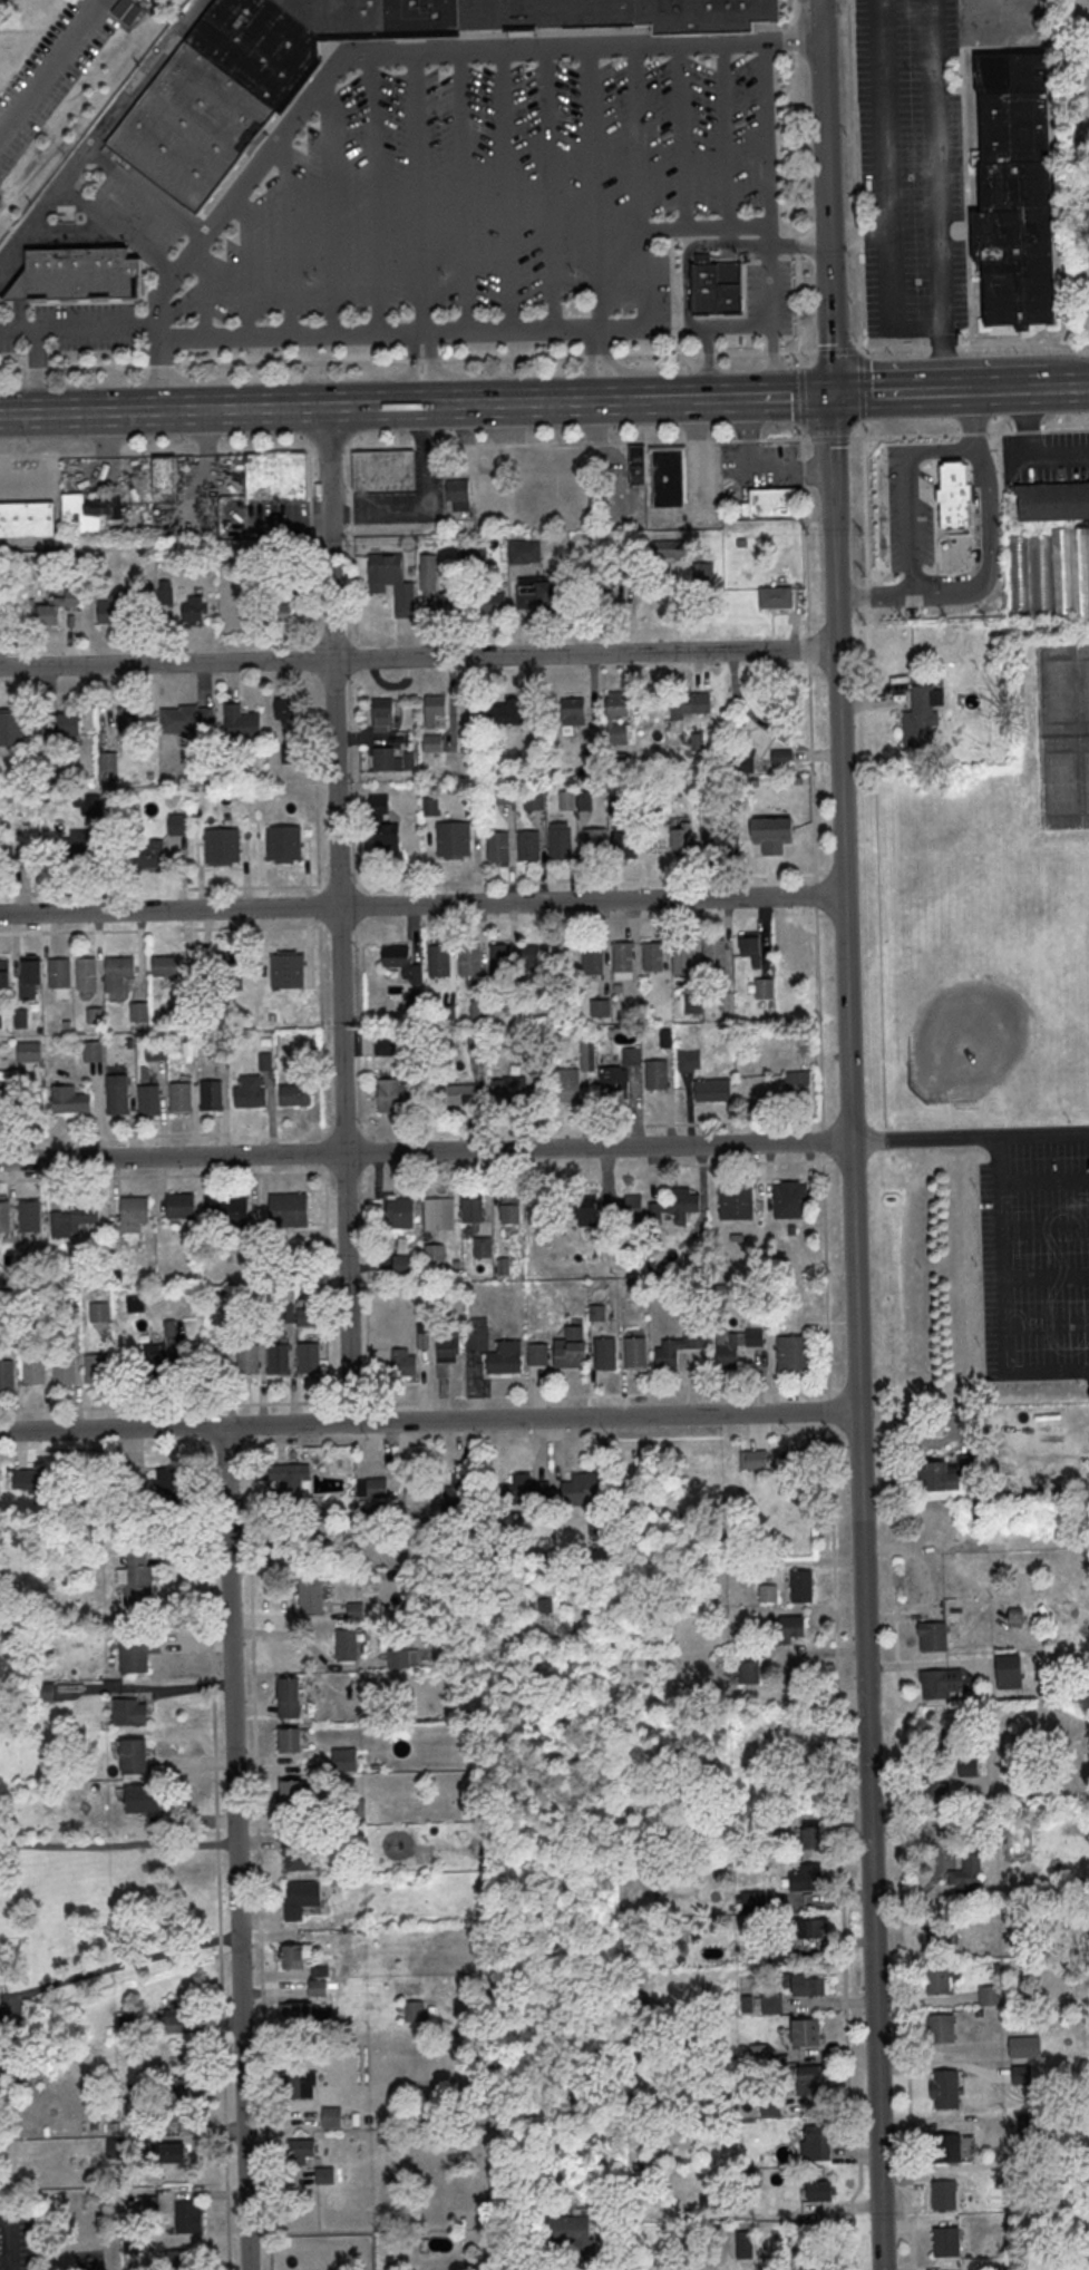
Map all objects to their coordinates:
building: (127, 10)
building: (618, 14)
road: (794, 43)
road: (406, 55)
road: (55, 74)
building: (249, 80)
road: (769, 137)
road: (723, 138)
road: (643, 139)
road: (682, 139)
park: (1079, 155)
road: (936, 164)
parking lot: (911, 168)
road: (71, 171)
road: (888, 187)
road: (594, 189)
road: (548, 191)
road: (505, 192)
building: (1015, 192)
road: (463, 193)
road: (420, 194)
road: (371, 195)
road: (824, 196)
road: (330, 206)
road: (29, 231)
road: (289, 232)
road: (858, 234)
road: (800, 245)
road: (249, 260)
building: (82, 273)
building: (718, 285)
road: (203, 289)
road: (772, 312)
road: (79, 329)
road: (648, 329)
road: (424, 334)
road: (292, 338)
road: (901, 349)
road: (161, 350)
road: (944, 359)
road: (775, 362)
road: (708, 363)
road: (600, 364)
road: (35, 372)
road: (1031, 387)
road: (901, 390)
road: (425, 392)
traffic signals: (829, 393)
road: (759, 394)
road: (662, 398)
road: (318, 408)
road: (974, 418)
road: (544, 444)
road: (1032, 448)
parking lot: (1046, 457)
building: (638, 465)
road: (750, 469)
building: (385, 471)
building: (665, 476)
building: (276, 478)
building: (166, 479)
road: (910, 487)
building: (911, 489)
building: (457, 494)
building: (954, 498)
road: (421, 501)
building: (1053, 501)
building: (771, 504)
building: (90, 509)
building: (28, 520)
road: (833, 522)
building: (671, 549)
road: (989, 549)
building: (525, 551)
building: (427, 572)
building: (1051, 572)
building: (391, 582)
road: (874, 591)
building: (775, 596)
building: (545, 597)
building: (454, 602)
building: (493, 602)
building: (125, 605)
building: (57, 607)
building: (194, 610)
building: (281, 612)
road: (418, 659)
building: (690, 702)
building: (284, 707)
building: (436, 710)
building: (572, 711)
building: (508, 712)
building: (382, 713)
building: (922, 715)
building: (616, 717)
building: (188, 719)
building: (132, 721)
building: (242, 722)
building: (60, 725)
building: (11, 729)
park: (1062, 733)
building: (431, 742)
building: (781, 754)
building: (392, 759)
building: (108, 762)
building: (534, 799)
building: (567, 800)
building: (585, 800)
road: (813, 801)
building: (87, 803)
building: (615, 805)
building: (431, 806)
building: (179, 825)
building: (382, 826)
building: (680, 834)
building: (772, 834)
building: (454, 839)
building: (626, 841)
building: (721, 841)
building: (284, 842)
building: (561, 842)
building: (595, 842)
building: (224, 845)
building: (529, 845)
building: (498, 846)
building: (13, 854)
building: (148, 855)
road: (421, 905)
road: (338, 915)
building: (750, 946)
building: (801, 946)
building: (684, 954)
building: (714, 954)
building: (623, 957)
building: (654, 957)
building: (529, 958)
building: (594, 958)
building: (500, 959)
building: (439, 961)
building: (470, 961)
building: (402, 962)
building: (168, 966)
building: (288, 971)
building: (4, 973)
building: (60, 973)
building: (87, 973)
building: (118, 973)
building: (226, 973)
building: (30, 978)
building: (765, 988)
building: (693, 1004)
building: (601, 1009)
building: (479, 1010)
building: (140, 1012)
building: (186, 1013)
building: (96, 1016)
building: (1, 1019)
building: (477, 1042)
building: (217, 1049)
building: (156, 1050)
building: (95, 1051)
building: (30, 1052)
building: (587, 1052)
building: (632, 1058)
building: (690, 1061)
building: (266, 1062)
building: (657, 1074)
building: (798, 1082)
building: (614, 1083)
building: (566, 1085)
building: (508, 1089)
building: (713, 1090)
building: (3, 1092)
building: (251, 1092)
building: (118, 1094)
building: (212, 1094)
building: (295, 1094)
building: (457, 1094)
building: (397, 1095)
building: (182, 1098)
building: (70, 1100)
building: (149, 1100)
road: (970, 1136)
road: (425, 1152)
building: (790, 1200)
building: (737, 1202)
building: (181, 1205)
building: (582, 1206)
building: (675, 1206)
building: (631, 1207)
building: (474, 1208)
building: (511, 1209)
building: (289, 1210)
building: (230, 1211)
building: (134, 1214)
building: (401, 1214)
building: (30, 1215)
building: (440, 1215)
building: (6, 1216)
building: (74, 1218)
building: (483, 1247)
building: (435, 1255)
parking lot: (1034, 1259)
building: (403, 1265)
road: (1001, 1298)
building: (98, 1312)
building: (597, 1313)
building: (305, 1316)
building: (477, 1338)
building: (735, 1346)
building: (571, 1348)
building: (677, 1348)
building: (446, 1352)
building: (606, 1353)
building: (636, 1353)
building: (795, 1353)
building: (538, 1354)
building: (310, 1357)
building: (506, 1357)
building: (280, 1358)
building: (154, 1360)
building: (250, 1360)
building: (218, 1361)
building: (405, 1363)
building: (97, 1368)
building: (35, 1370)
building: (66, 1370)
building: (8, 1375)
road: (57, 1410)
road: (428, 1421)
building: (753, 1460)
road: (859, 1460)
building: (795, 1461)
building: (949, 1479)
building: (40, 1481)
building: (291, 1484)
building: (377, 1488)
building: (168, 1489)
building: (582, 1490)
building: (524, 1491)
building: (454, 1493)
building: (975, 1512)
building: (139, 1578)
building: (801, 1587)
building: (311, 1594)
building: (768, 1594)
building: (356, 1610)
building: (1014, 1618)
building: (791, 1627)
building: (933, 1637)
building: (348, 1645)
building: (138, 1653)
building: (399, 1659)
building: (1008, 1670)
building: (748, 1672)
building: (935, 1685)
building: (290, 1697)
building: (130, 1713)
road: (838, 1718)
building: (291, 1740)
road: (216, 1755)
building: (136, 1756)
building: (346, 1760)
building: (968, 1769)
building: (934, 1787)
building: (291, 1791)
building: (145, 1799)
building: (352, 1811)
building: (809, 1838)
road: (259, 1840)
road: (117, 1843)
road: (236, 1848)
building: (299, 1852)
building: (966, 1872)
building: (808, 1879)
building: (301, 1899)
building: (753, 1901)
building: (813, 1927)
building: (937, 1936)
building: (292, 1957)
road: (118, 1967)
building: (320, 1971)
building: (939, 1979)
building: (806, 1984)
building: (318, 1988)
building: (990, 1996)
building: (771, 2003)
building: (415, 2011)
building: (295, 2013)
building: (184, 2020)
building: (125, 2023)
building: (942, 2029)
building: (807, 2033)
building: (1025, 2047)
building: (185, 2066)
building: (1022, 2076)
building: (811, 2079)
building: (298, 2084)
building: (945, 2089)
building: (770, 2106)
building: (332, 2117)
building: (1032, 2124)
building: (819, 2143)
building: (116, 2149)
building: (946, 2149)
building: (300, 2152)
building: (173, 2154)
building: (325, 2175)
building: (818, 2191)
building: (945, 2195)
building: (149, 2205)
building: (189, 2218)
building: (571, 2234)
road: (8, 2239)
parking lot: (16, 2239)
building: (946, 2242)
building: (743, 2244)
building: (178, 2260)
road: (586, 2264)

